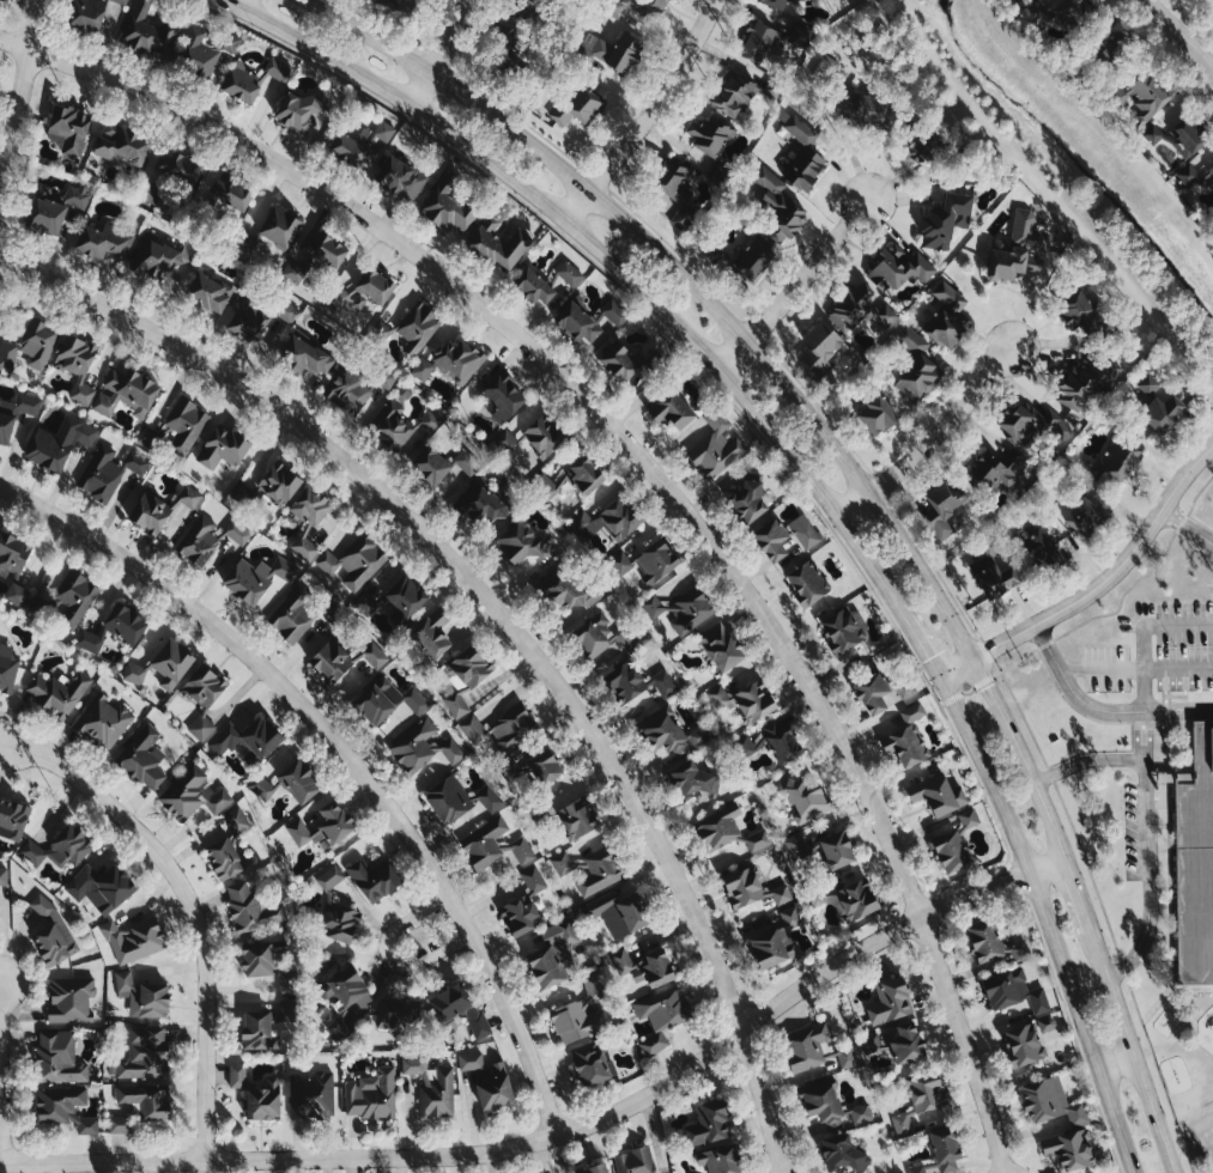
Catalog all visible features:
building: (398, 4)
building: (777, 4)
road: (242, 5)
building: (638, 7)
building: (1057, 12)
building: (90, 14)
building: (146, 32)
road: (1182, 34)
building: (502, 44)
building: (756, 44)
road: (441, 54)
building: (617, 54)
building: (1110, 54)
building: (195, 55)
building: (827, 68)
building: (249, 79)
building: (730, 93)
building: (1144, 93)
road: (18, 95)
building: (574, 107)
building: (298, 108)
building: (866, 111)
road: (649, 114)
building: (66, 129)
building: (382, 132)
building: (709, 134)
building: (1153, 134)
building: (1188, 135)
building: (121, 146)
building: (920, 148)
building: (348, 151)
building: (801, 156)
building: (176, 169)
building: (718, 171)
building: (1209, 172)
building: (398, 180)
building: (146, 192)
building: (672, 192)
building: (228, 194)
building: (78, 196)
building: (444, 205)
building: (778, 211)
building: (42, 217)
building: (942, 224)
building: (275, 229)
building: (496, 241)
building: (102, 242)
building: (321, 249)
road: (611, 256)
building: (1015, 257)
building: (153, 259)
building: (747, 261)
building: (897, 271)
building: (295, 272)
building: (566, 274)
road: (794, 284)
building: (371, 287)
building: (529, 287)
building: (206, 293)
building: (857, 309)
building: (287, 310)
building: (1085, 315)
building: (945, 317)
building: (244, 322)
building: (588, 322)
building: (416, 327)
building: (819, 342)
building: (29, 347)
building: (302, 359)
building: (448, 363)
building: (618, 364)
building: (912, 366)
building: (73, 371)
building: (389, 378)
building: (1084, 384)
building: (1147, 384)
building: (347, 389)
building: (404, 391)
building: (501, 396)
building: (875, 409)
building: (668, 412)
building: (1160, 412)
building: (183, 425)
building: (396, 425)
building: (1031, 425)
building: (5, 431)
building: (541, 434)
road: (933, 438)
building: (55, 446)
building: (219, 448)
building: (714, 450)
building: (1116, 460)
building: (443, 467)
building: (107, 470)
building: (988, 470)
road: (651, 472)
building: (582, 474)
building: (277, 484)
building: (547, 485)
road: (869, 488)
building: (942, 496)
building: (746, 502)
building: (479, 505)
building: (162, 512)
building: (618, 516)
building: (1081, 516)
building: (305, 521)
building: (578, 522)
road: (1188, 527)
building: (239, 531)
building: (805, 535)
building: (768, 539)
building: (198, 541)
building: (520, 543)
building: (1035, 546)
building: (11, 553)
building: (353, 561)
building: (654, 563)
building: (619, 564)
building: (255, 578)
building: (995, 578)
building: (805, 583)
road: (1099, 589)
building: (564, 591)
building: (18, 594)
building: (402, 596)
building: (67, 600)
building: (369, 600)
building: (678, 606)
building: (328, 612)
building: (291, 615)
road: (509, 615)
road: (1178, 622)
building: (111, 630)
building: (842, 630)
building: (430, 633)
building: (600, 636)
building: (718, 648)
road: (924, 649)
traffic signals: (996, 649)
traffic signals: (930, 658)
building: (340, 660)
building: (166, 664)
road: (1144, 667)
road: (1135, 668)
building: (137, 673)
building: (6, 674)
building: (462, 679)
building: (633, 683)
traffic signals: (988, 683)
building: (205, 686)
building: (877, 692)
building: (55, 694)
building: (742, 700)
building: (413, 701)
building: (372, 703)
road: (1102, 710)
building: (101, 722)
building: (202, 727)
building: (499, 729)
building: (668, 734)
building: (905, 740)
building: (255, 741)
building: (778, 741)
building: (742, 746)
building: (420, 748)
road: (345, 754)
building: (140, 760)
building: (540, 767)
building: (508, 771)
building: (687, 779)
building: (296, 783)
building: (259, 789)
building: (189, 795)
building: (936, 796)
building: (454, 800)
building: (805, 800)
road: (1147, 816)
building: (574, 819)
building: (12, 820)
building: (235, 821)
building: (319, 827)
building: (727, 833)
building: (950, 843)
building: (57, 847)
building: (480, 847)
building: (794, 847)
building: (833, 850)
building: (522, 853)
building: (220, 858)
building: (1195, 861)
building: (562, 864)
road: (1048, 869)
building: (598, 873)
building: (4, 875)
building: (327, 879)
building: (371, 879)
building: (532, 880)
building: (109, 888)
building: (75, 889)
building: (748, 892)
building: (847, 899)
road: (192, 902)
building: (41, 907)
building: (250, 910)
building: (615, 913)
building: (518, 916)
building: (336, 922)
road: (1048, 923)
road: (432, 929)
building: (564, 932)
building: (132, 941)
building: (774, 941)
building: (981, 942)
building: (49, 944)
building: (263, 966)
building: (643, 966)
building: (542, 967)
building: (340, 986)
building: (1011, 992)
building: (140, 996)
building: (68, 999)
building: (887, 1002)
building: (456, 1009)
building: (286, 1011)
building: (396, 1014)
building: (580, 1014)
building: (660, 1016)
building: (1048, 1022)
building: (338, 1029)
building: (255, 1032)
building: (893, 1043)
building: (1021, 1045)
building: (811, 1051)
building: (144, 1055)
building: (56, 1058)
road: (1117, 1063)
building: (587, 1064)
road: (1, 1074)
building: (484, 1081)
building: (430, 1087)
building: (254, 1094)
building: (923, 1094)
building: (309, 1095)
building: (369, 1095)
building: (1048, 1102)
building: (138, 1107)
building: (827, 1107)
building: (62, 1108)
building: (706, 1123)
building: (902, 1124)
road: (548, 1138)
building: (1068, 1149)
building: (939, 1154)
building: (838, 1155)
building: (716, 1160)
building: (632, 1161)
building: (592, 1169)

